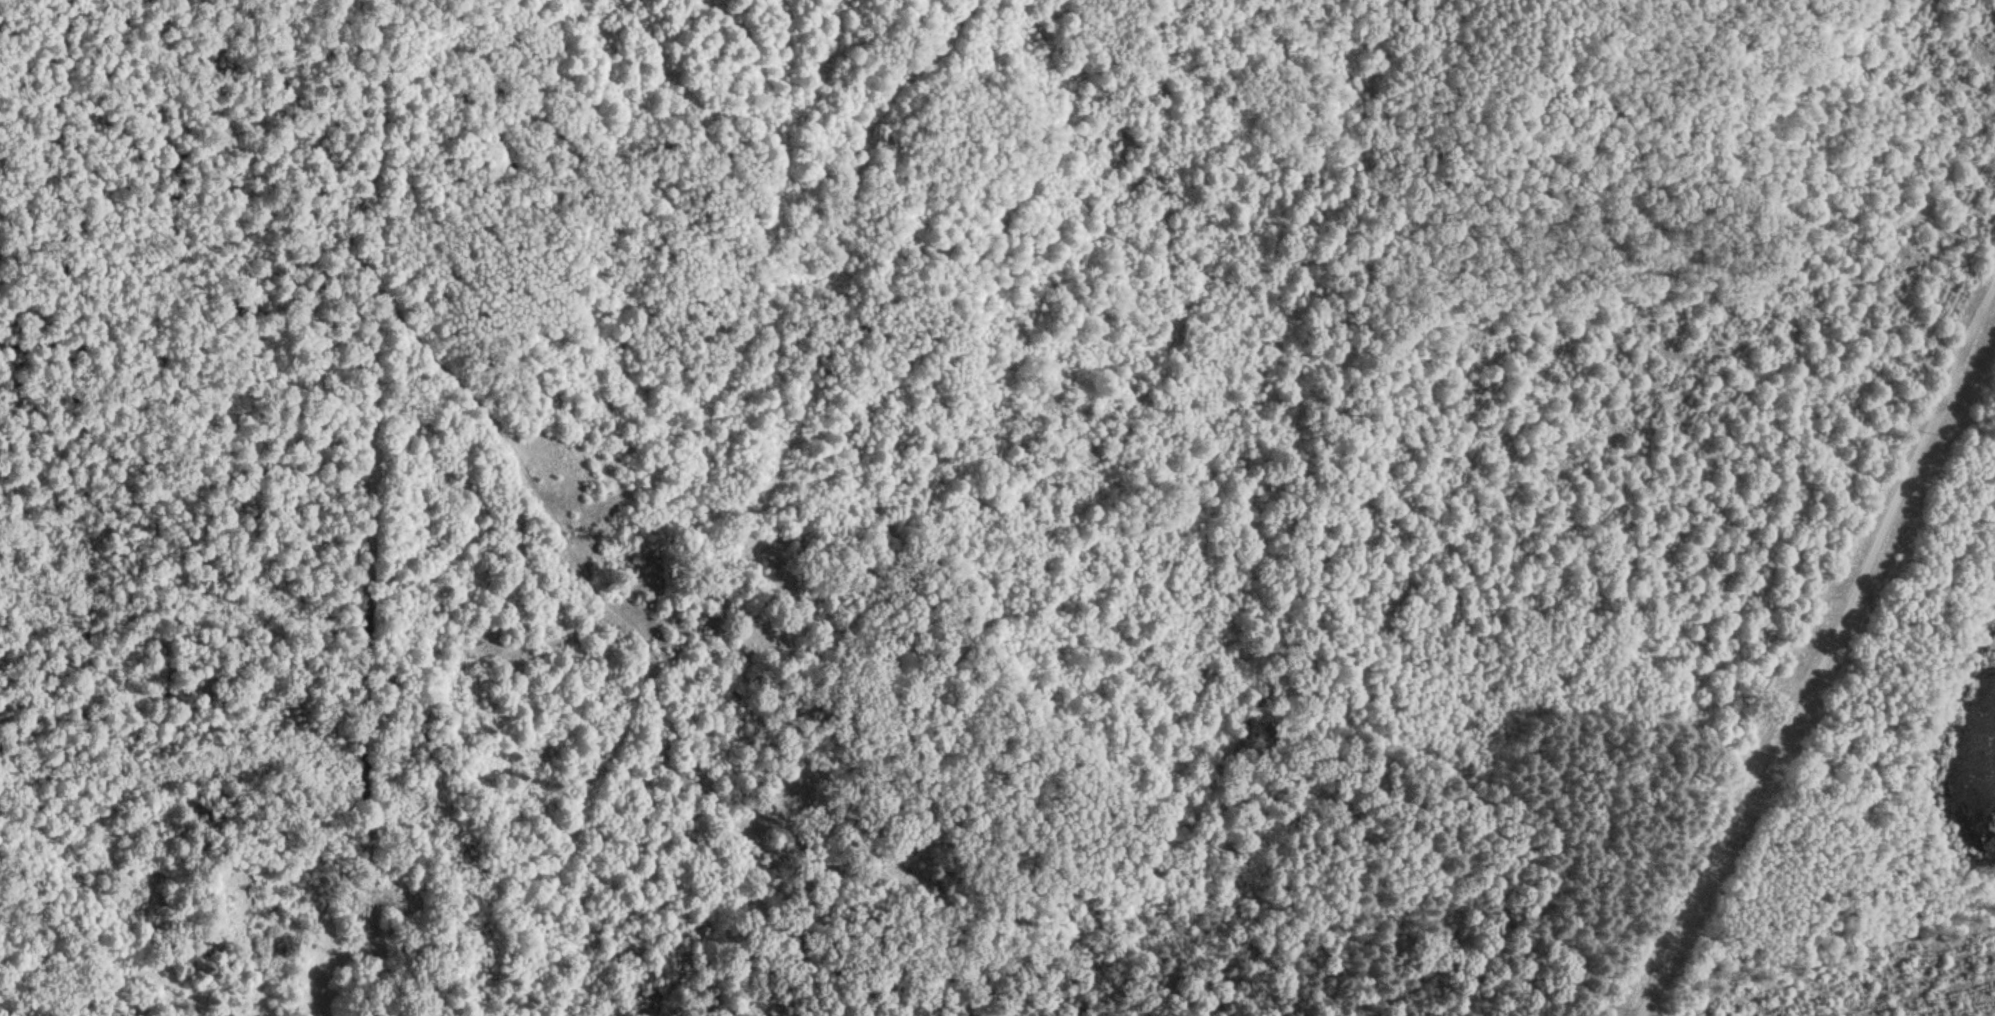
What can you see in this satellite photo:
road: (375, 508)
road: (1822, 652)
road: (691, 770)

